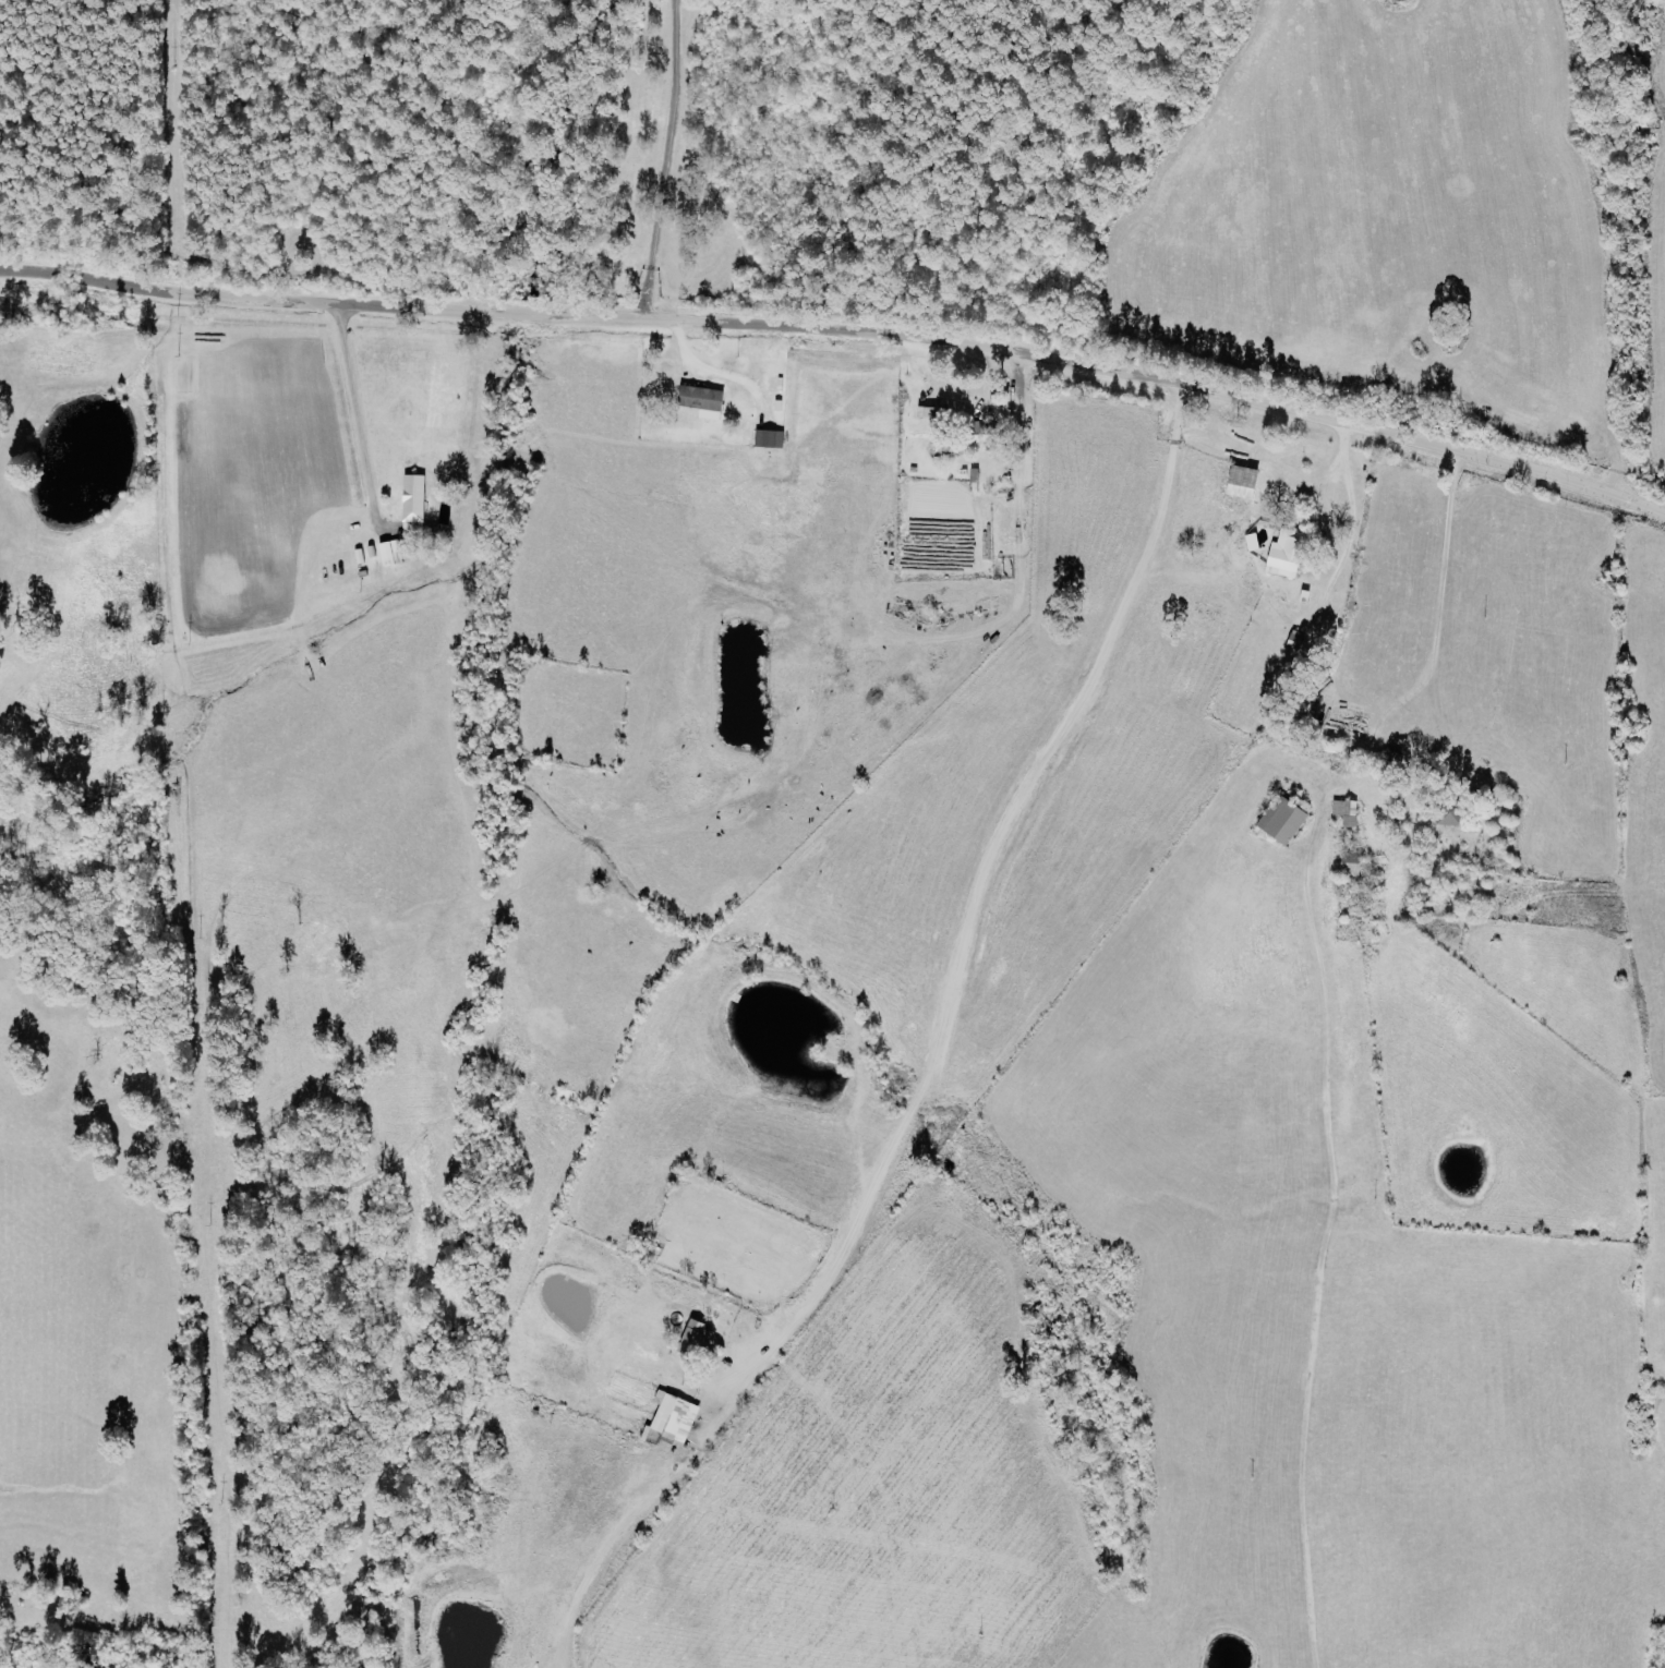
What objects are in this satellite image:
road: (662, 160)
road: (842, 331)
building: (704, 401)
building: (932, 411)
road: (354, 415)
building: (982, 432)
building: (771, 439)
road: (1332, 469)
building: (1245, 483)
building: (415, 505)
road: (1352, 534)
building: (393, 554)
building: (1288, 554)
road: (1437, 589)
road: (1408, 696)
building: (1349, 811)
building: (1286, 820)
building: (1353, 862)
building: (695, 1338)
building: (672, 1414)

